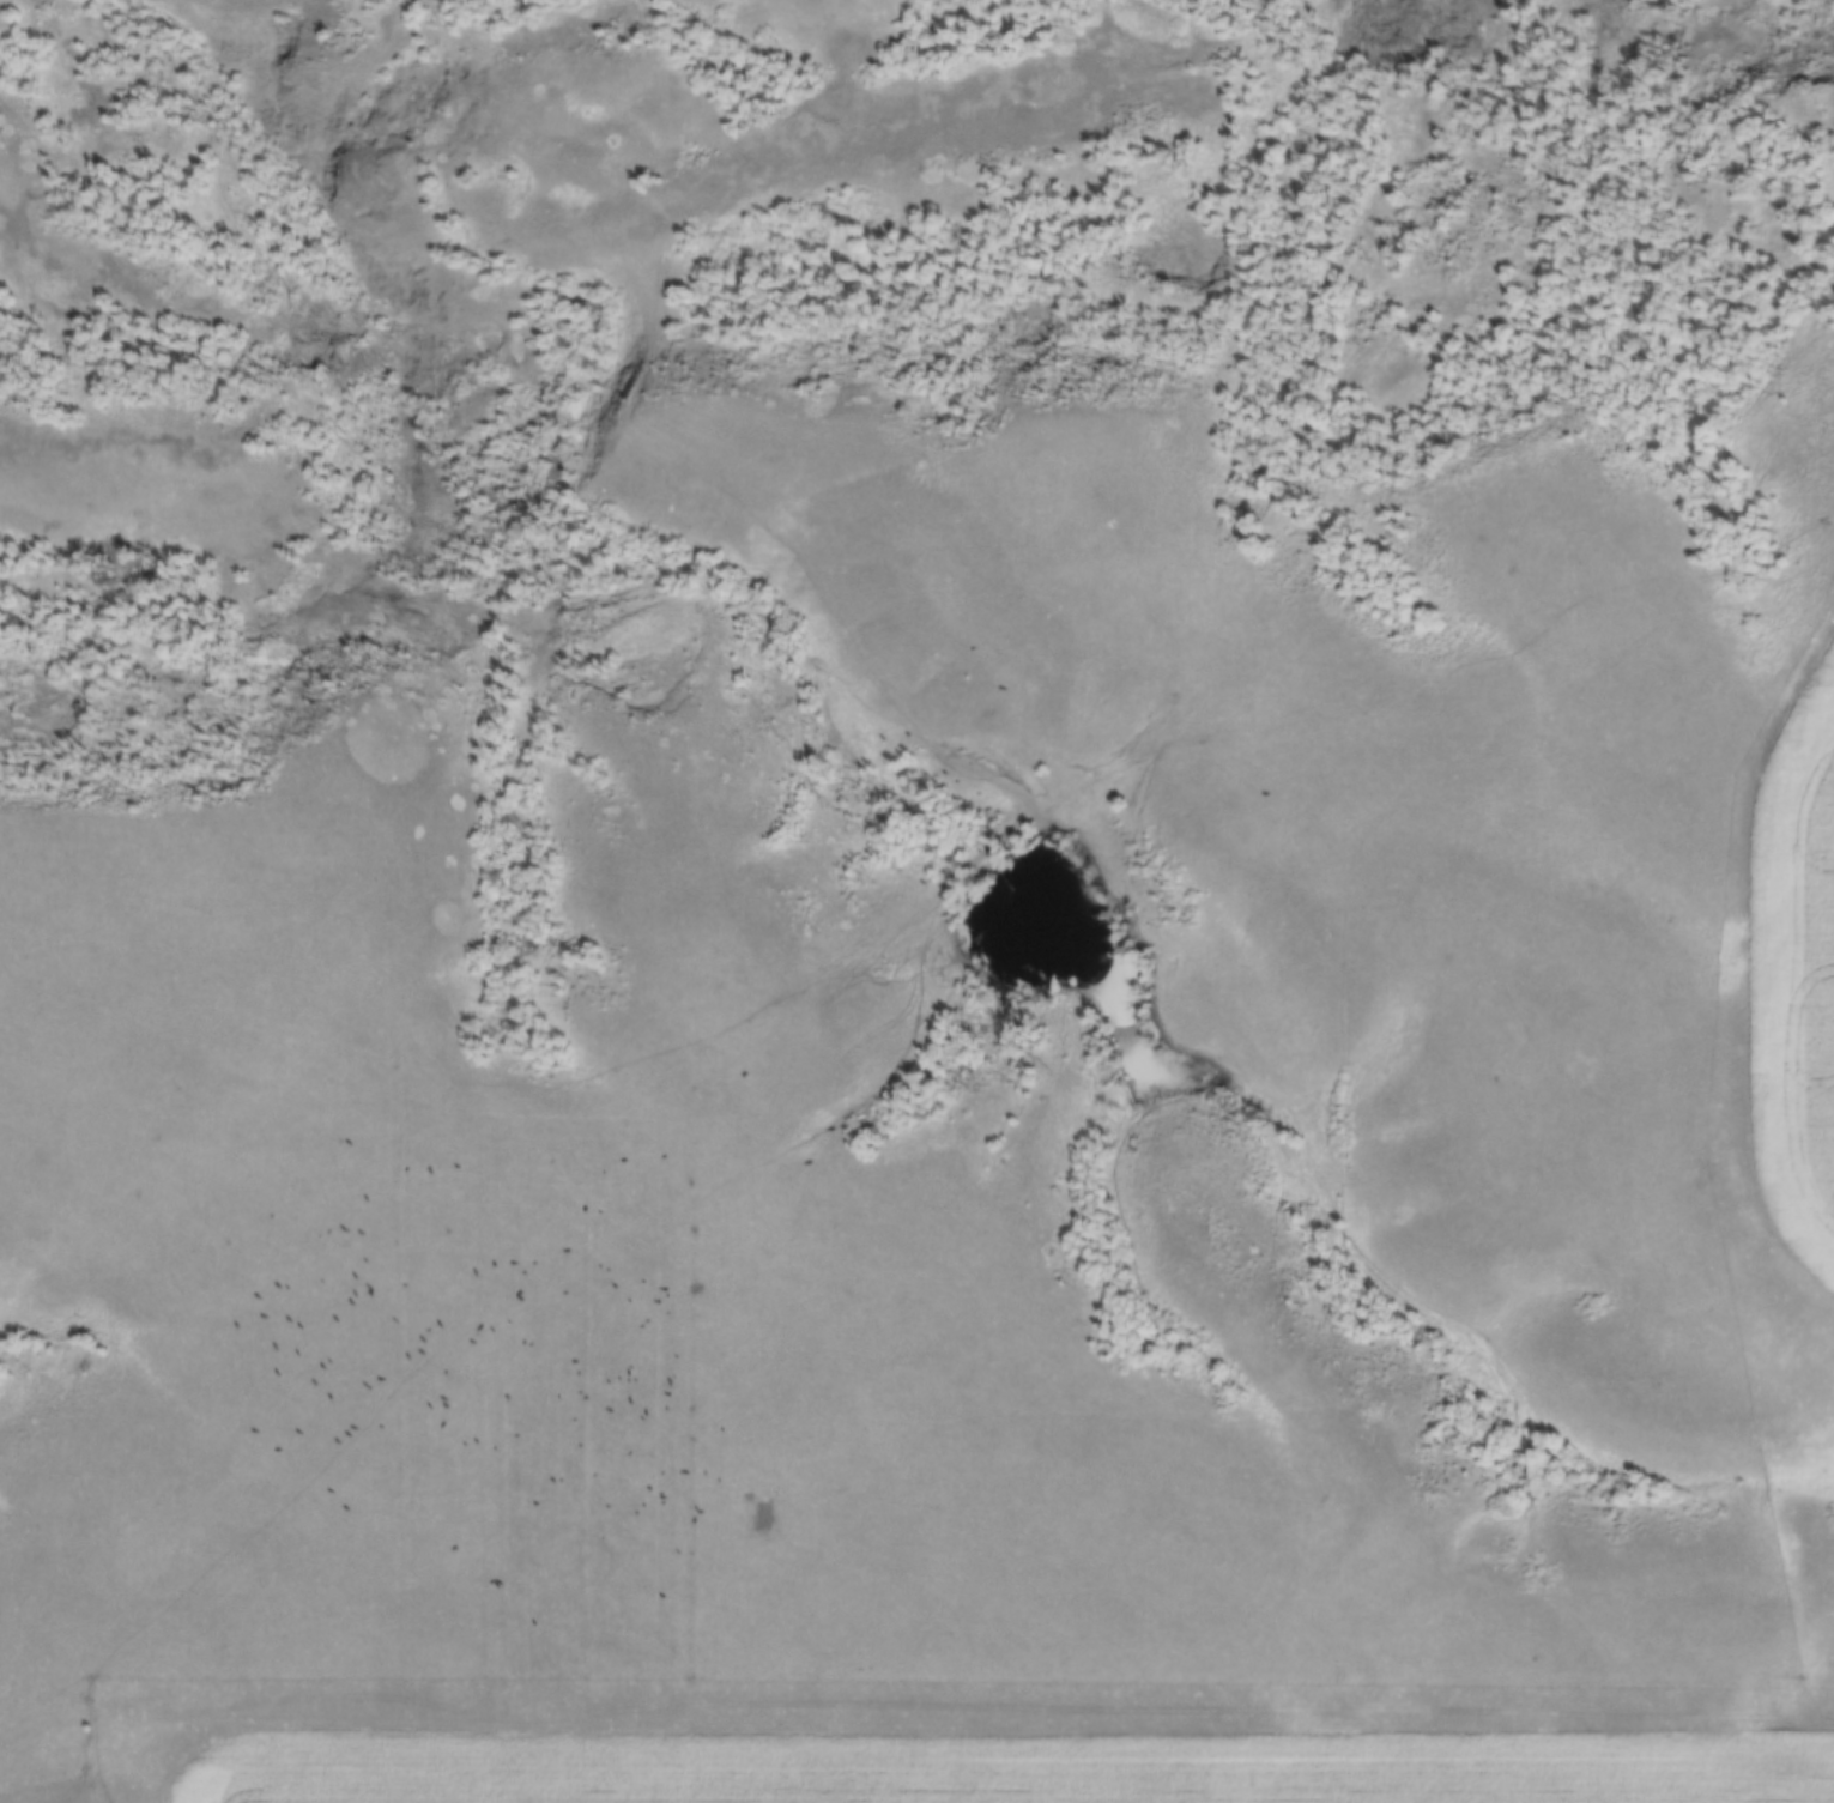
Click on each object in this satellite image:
road: (910, 1716)

